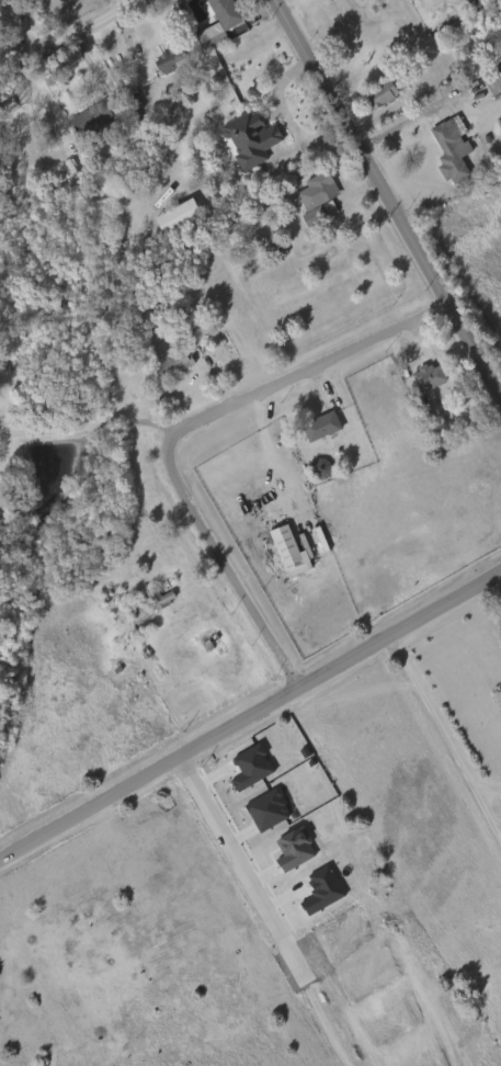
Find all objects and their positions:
building: (220, 24)
road: (69, 33)
building: (163, 60)
building: (496, 80)
building: (389, 92)
building: (96, 125)
building: (252, 139)
building: (455, 148)
building: (320, 191)
road: (386, 200)
building: (180, 217)
building: (175, 363)
road: (304, 370)
building: (432, 375)
building: (323, 427)
road: (264, 456)
building: (291, 552)
road: (227, 565)
building: (155, 598)
building: (162, 599)
building: (212, 644)
road: (250, 713)
road: (443, 739)
road: (241, 871)

